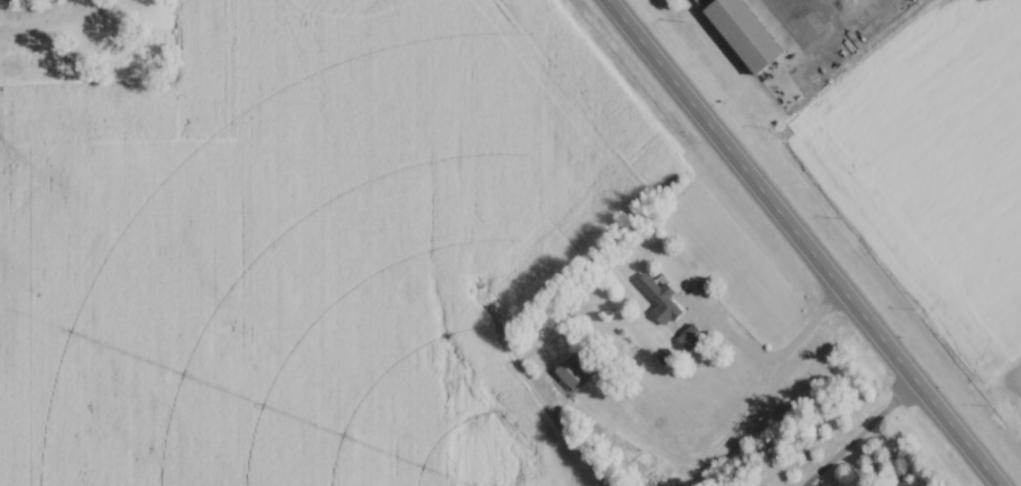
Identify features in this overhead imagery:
road: (829, 11)
building: (745, 33)
building: (12, 65)
building: (41, 65)
road: (796, 243)
building: (660, 299)
building: (690, 336)
road: (783, 360)
building: (576, 371)
road: (861, 438)

